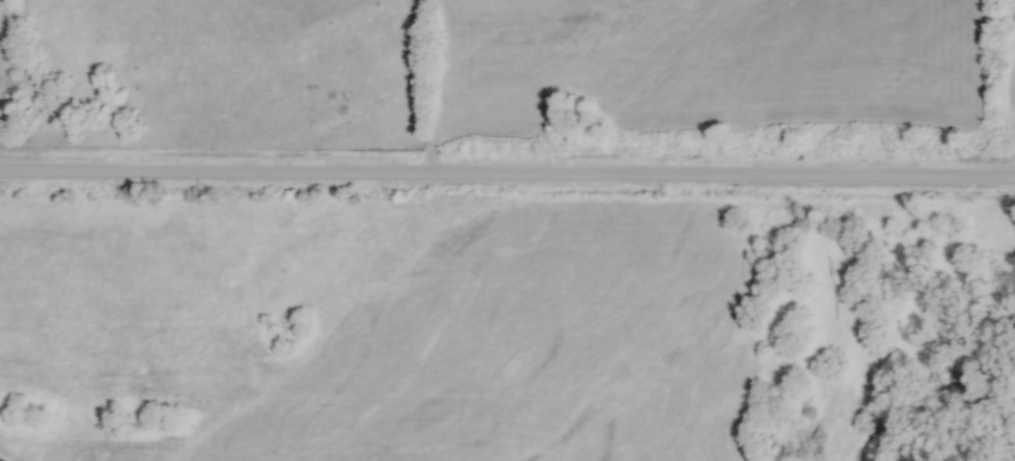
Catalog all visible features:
building: (10, 37)
building: (507, 136)
road: (507, 180)
river: (920, 365)

